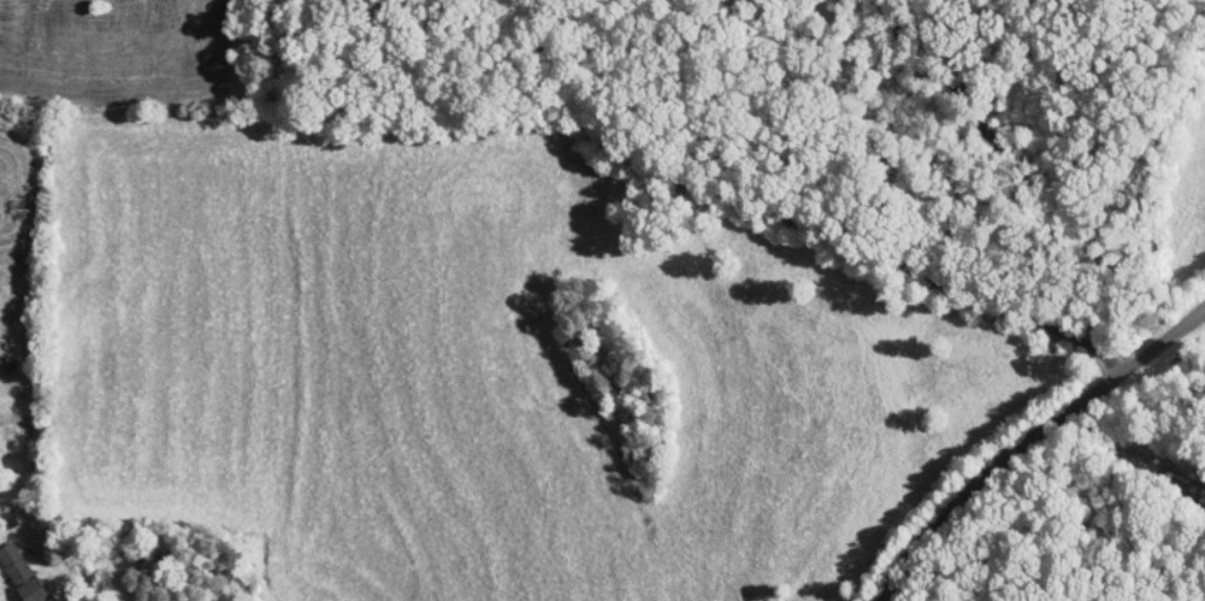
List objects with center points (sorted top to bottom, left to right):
road: (1185, 320)
road: (982, 324)
road: (1005, 454)
building: (23, 572)

